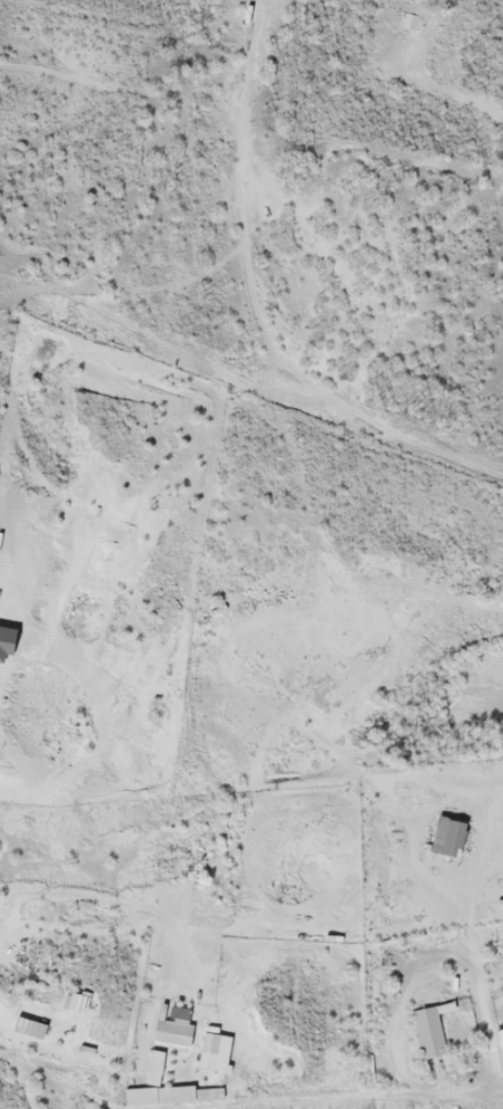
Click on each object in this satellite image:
building: (447, 837)
building: (171, 1033)
building: (500, 1041)
building: (209, 1043)
building: (153, 1067)

